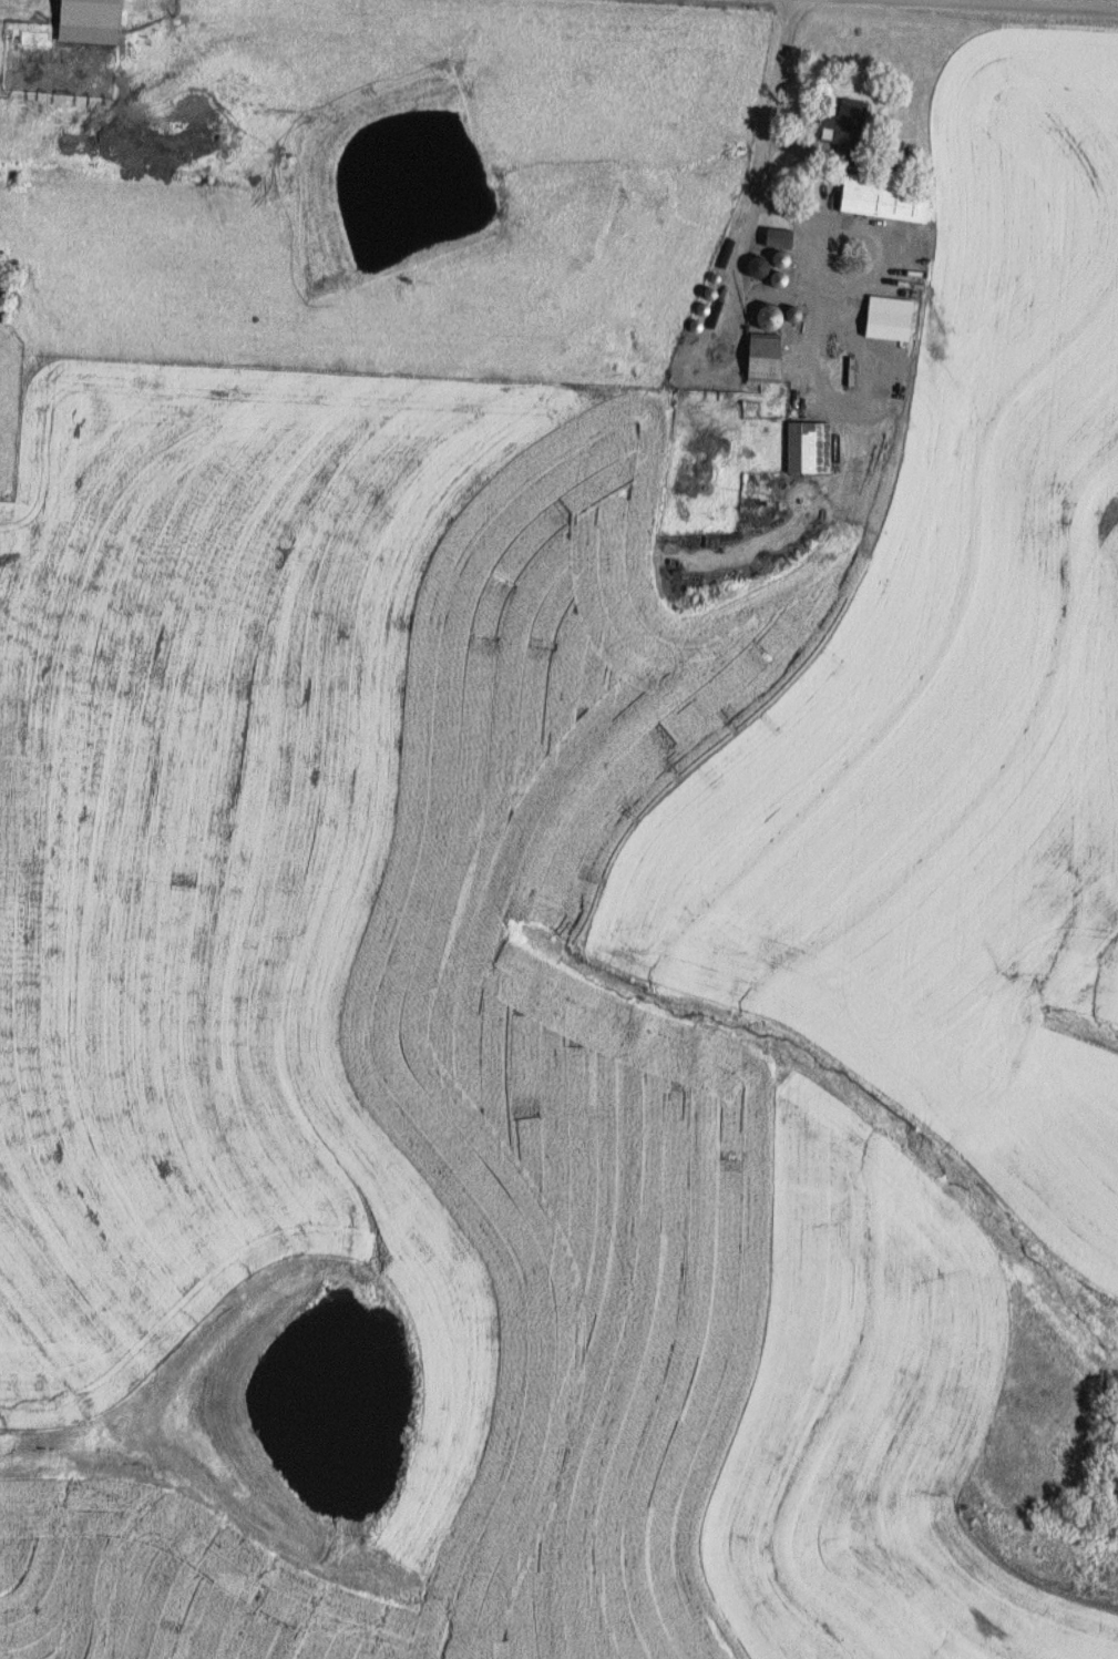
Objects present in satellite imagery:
road: (1048, 3)
building: (833, 130)
road: (788, 145)
building: (878, 198)
building: (771, 239)
building: (760, 319)
building: (756, 359)
building: (802, 448)
road: (441, 561)

